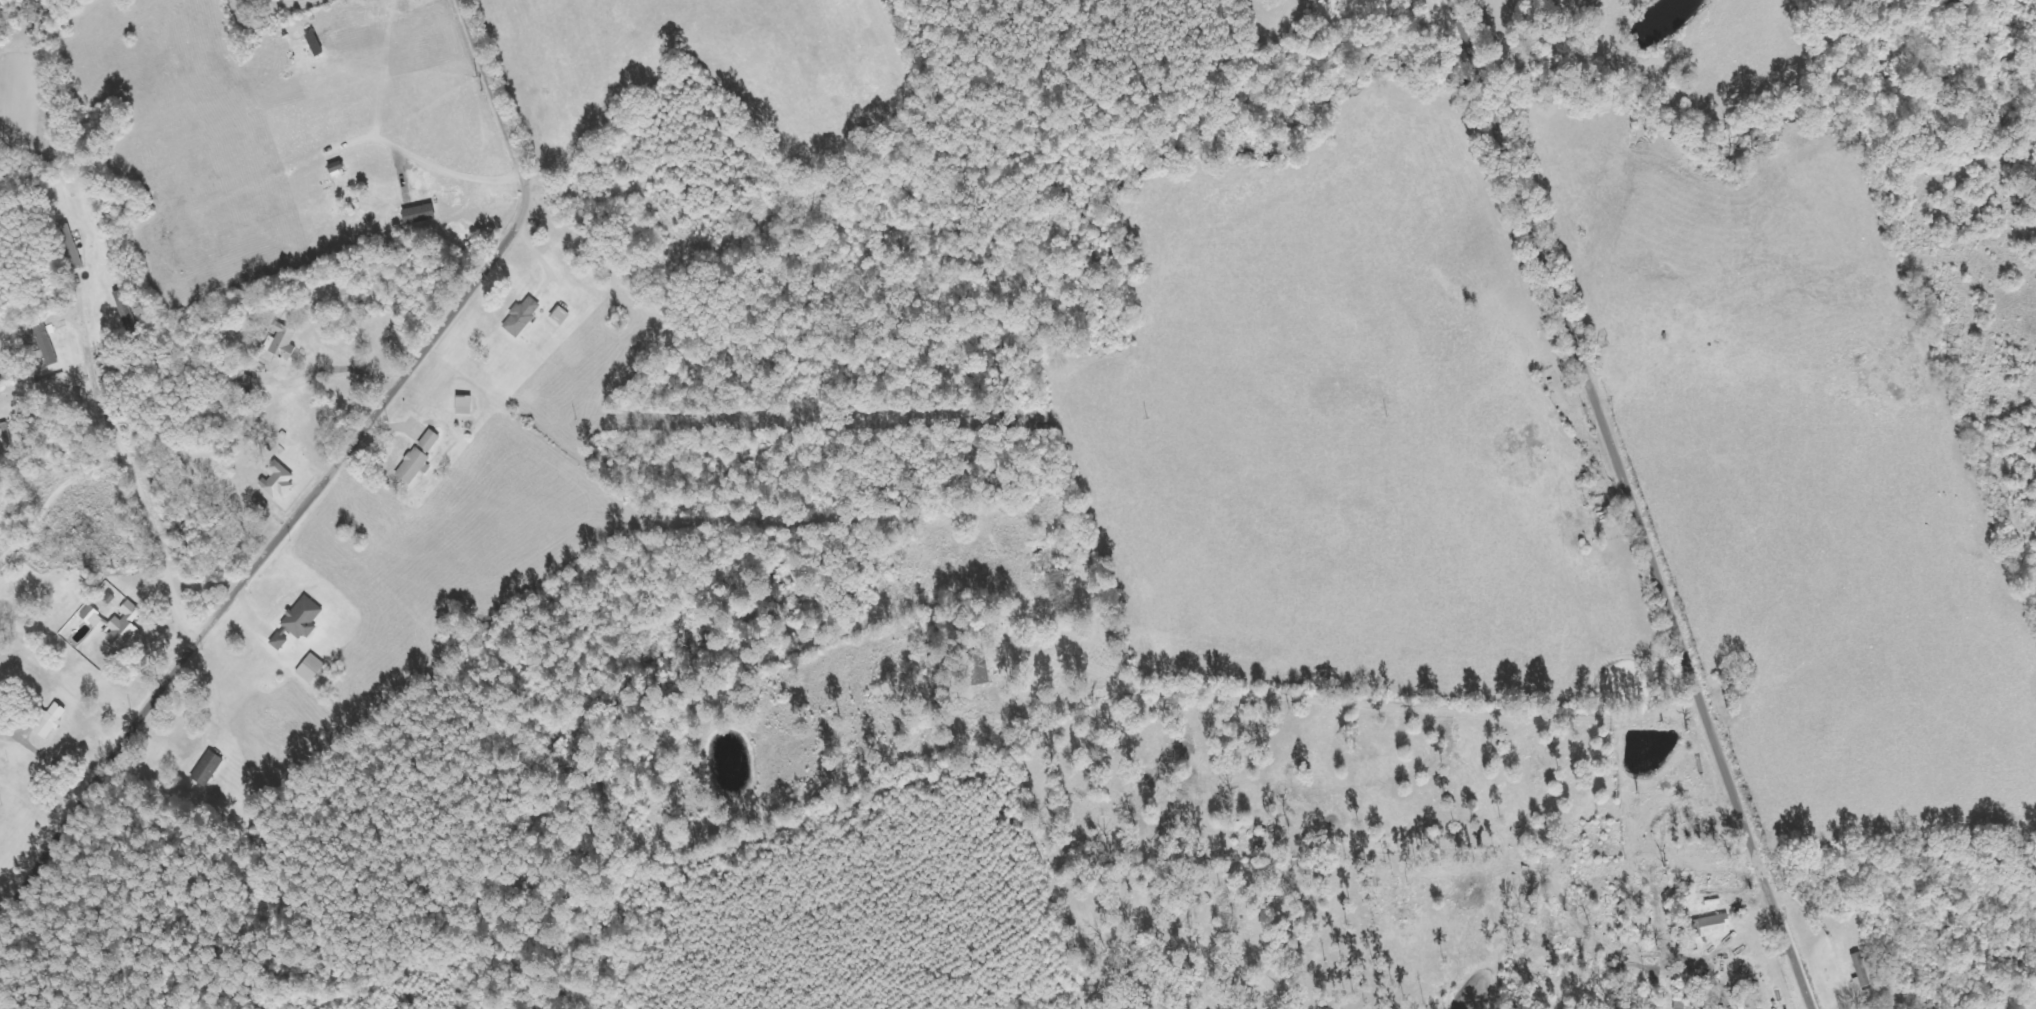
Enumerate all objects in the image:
building: (71, 247)
building: (522, 316)
building: (280, 342)
building: (45, 343)
building: (463, 405)
building: (428, 442)
building: (413, 466)
road: (328, 474)
building: (277, 481)
road: (138, 491)
road: (1630, 504)
building: (1054, 582)
building: (93, 617)
building: (298, 622)
building: (123, 627)
building: (978, 667)
building: (310, 668)
road: (1389, 717)
building: (50, 721)
building: (207, 769)
building: (1713, 925)
building: (1863, 977)
building: (1867, 996)

